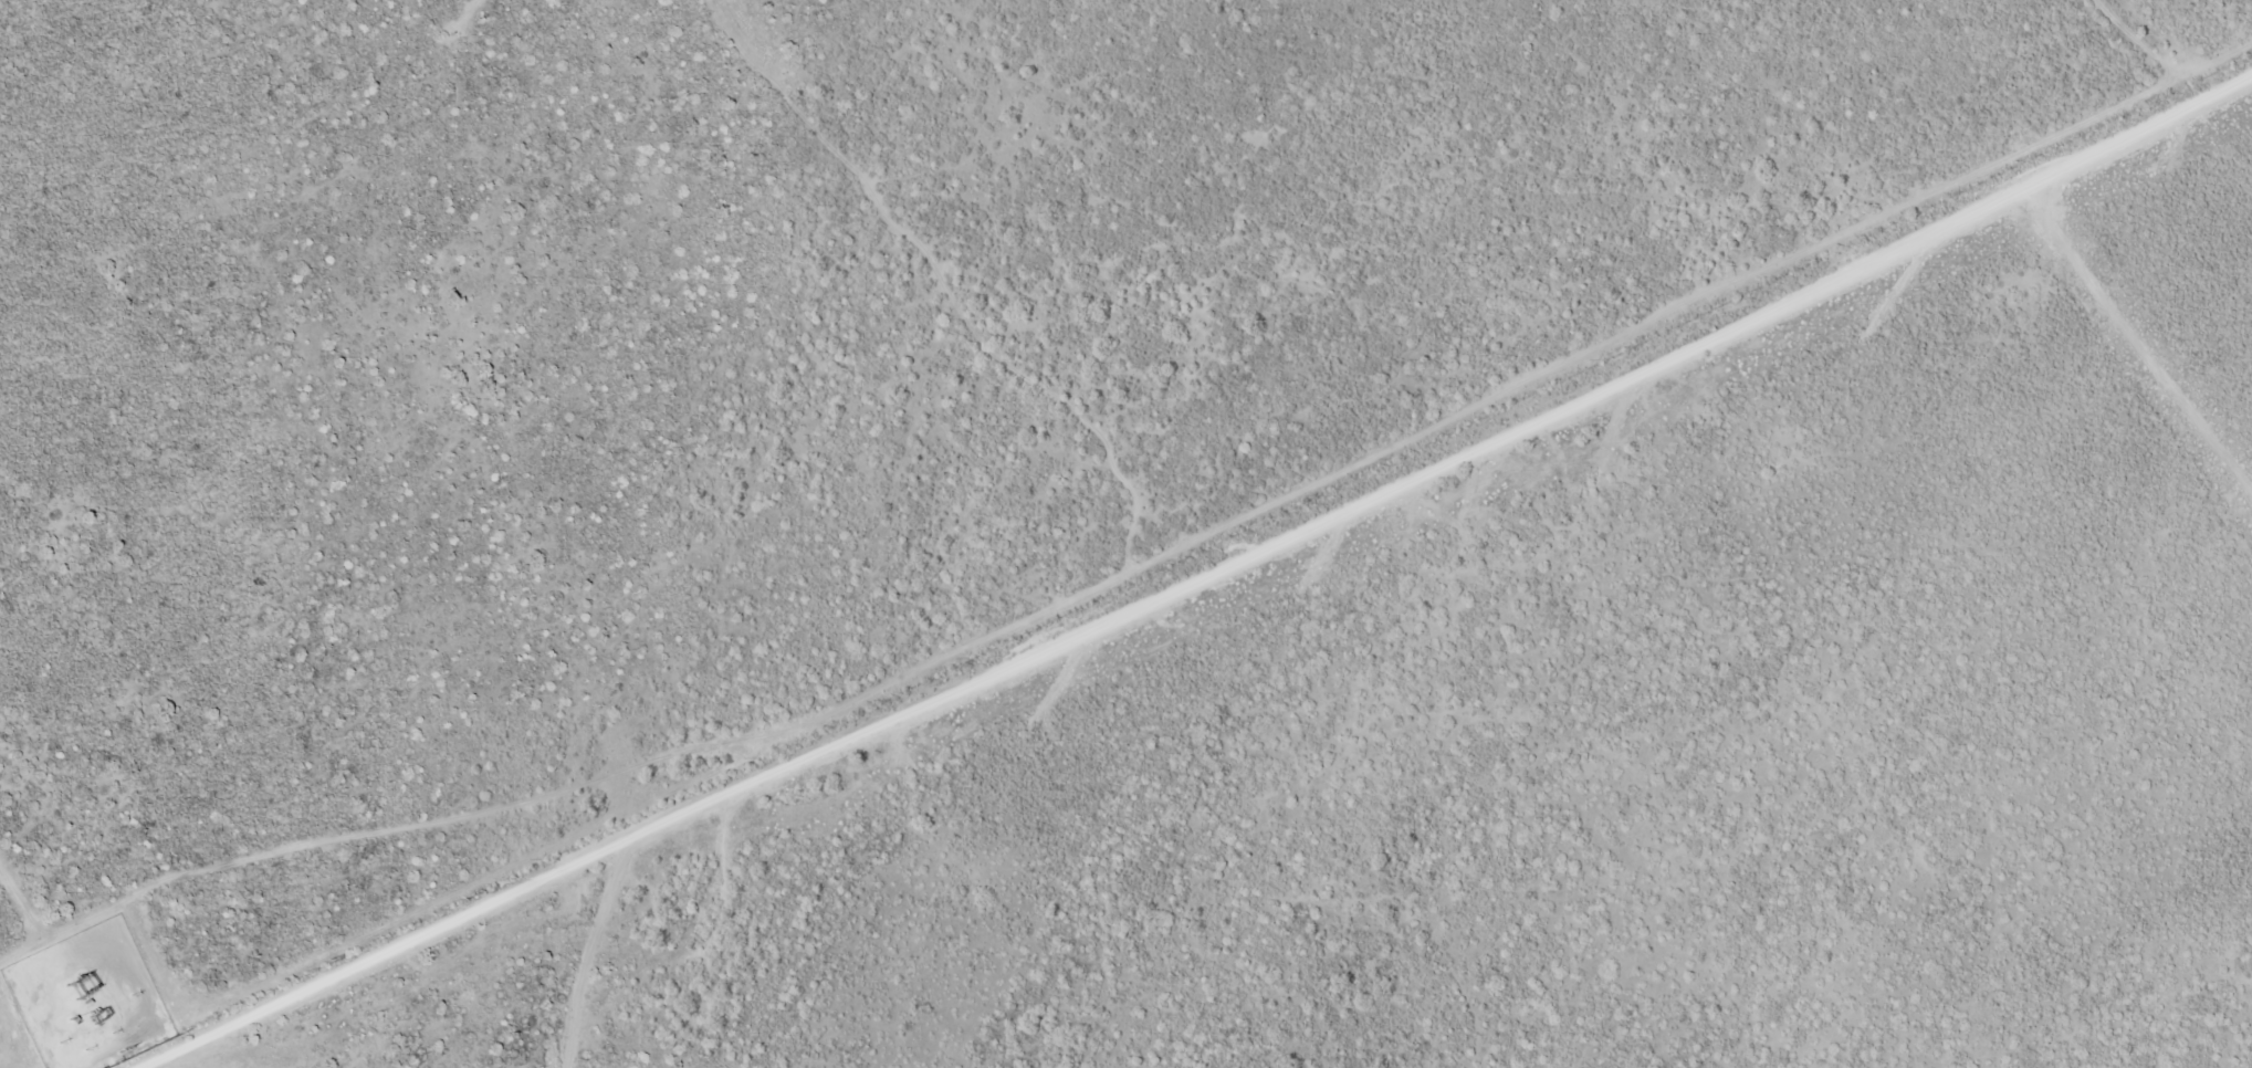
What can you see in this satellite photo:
road: (2135, 338)
road: (1204, 574)
road: (599, 944)
power tower: (73, 981)
power tower: (85, 996)
power substation: (87, 997)

